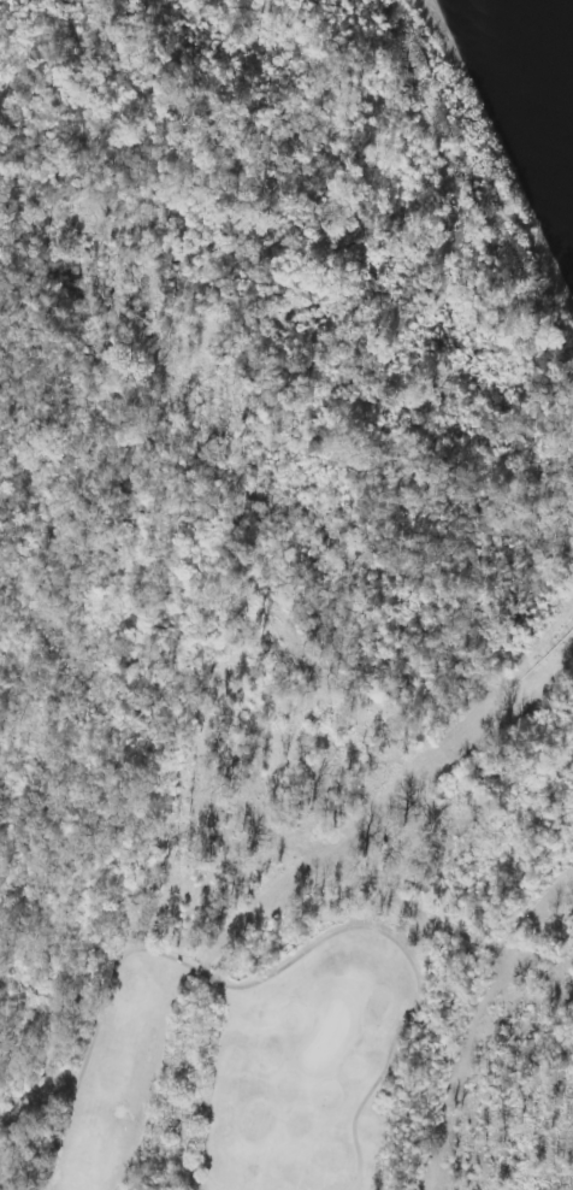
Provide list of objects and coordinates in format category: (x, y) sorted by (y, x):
river: (515, 82)
road: (273, 974)

